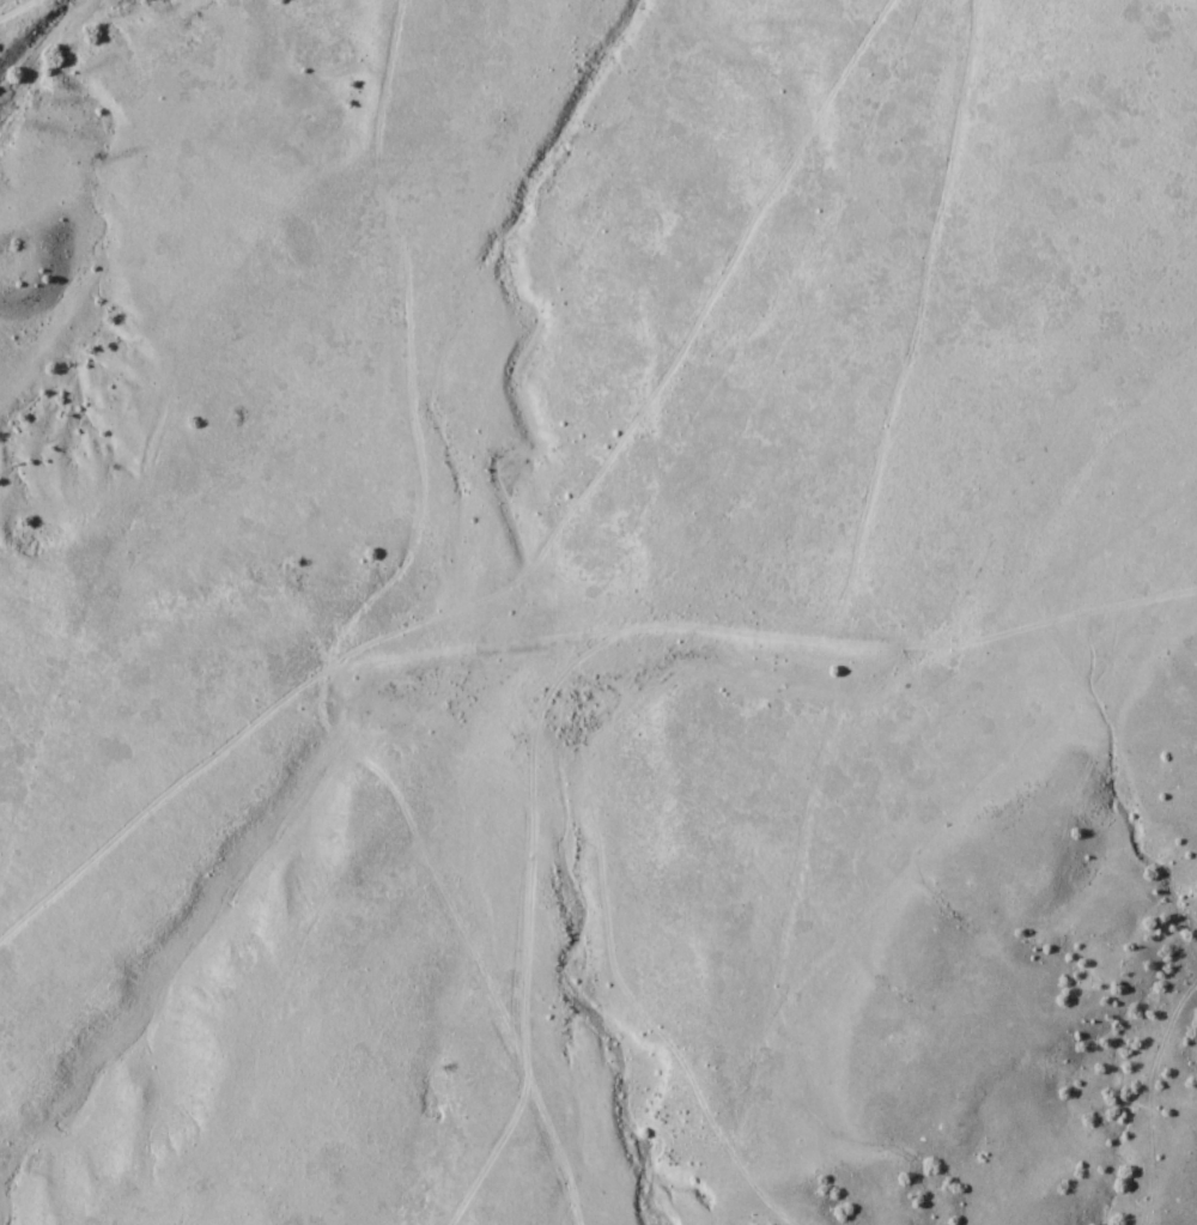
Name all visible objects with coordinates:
road: (1186, 2)
road: (20, 12)
river: (68, 56)
road: (316, 639)
road: (761, 692)

